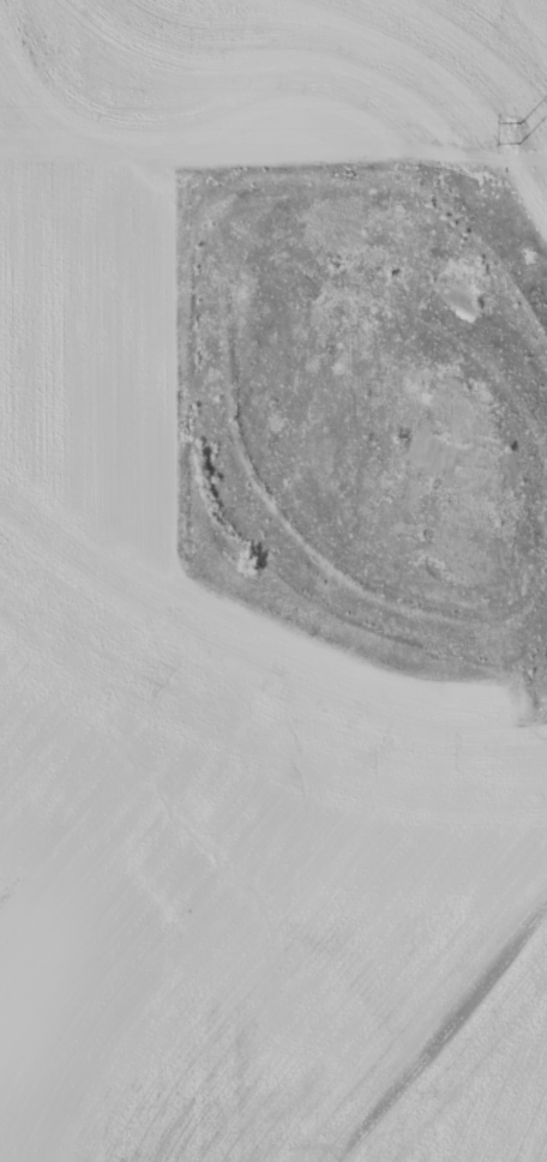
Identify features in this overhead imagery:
power tower: (517, 130)
road: (285, 252)

